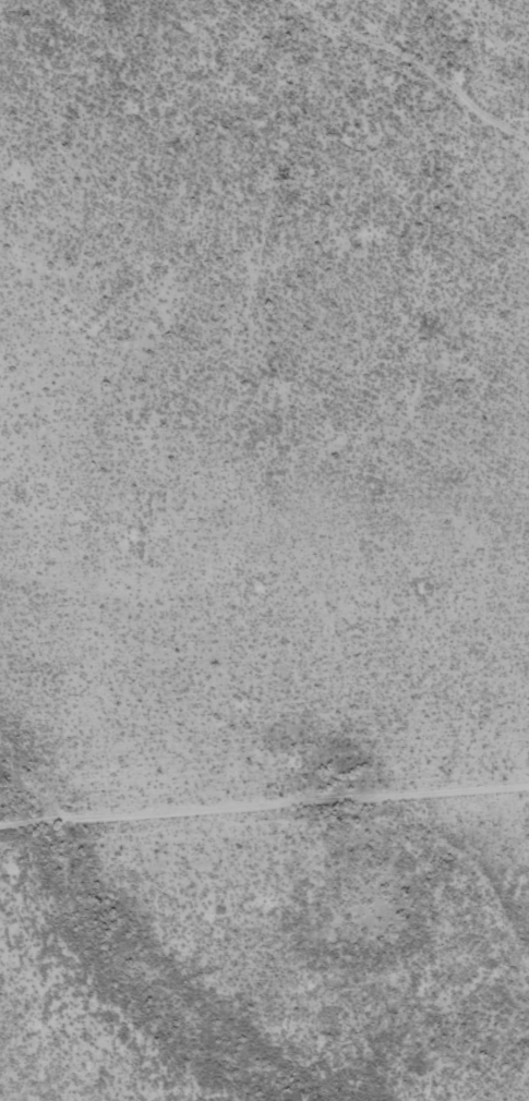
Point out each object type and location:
road: (398, 60)
road: (264, 800)

